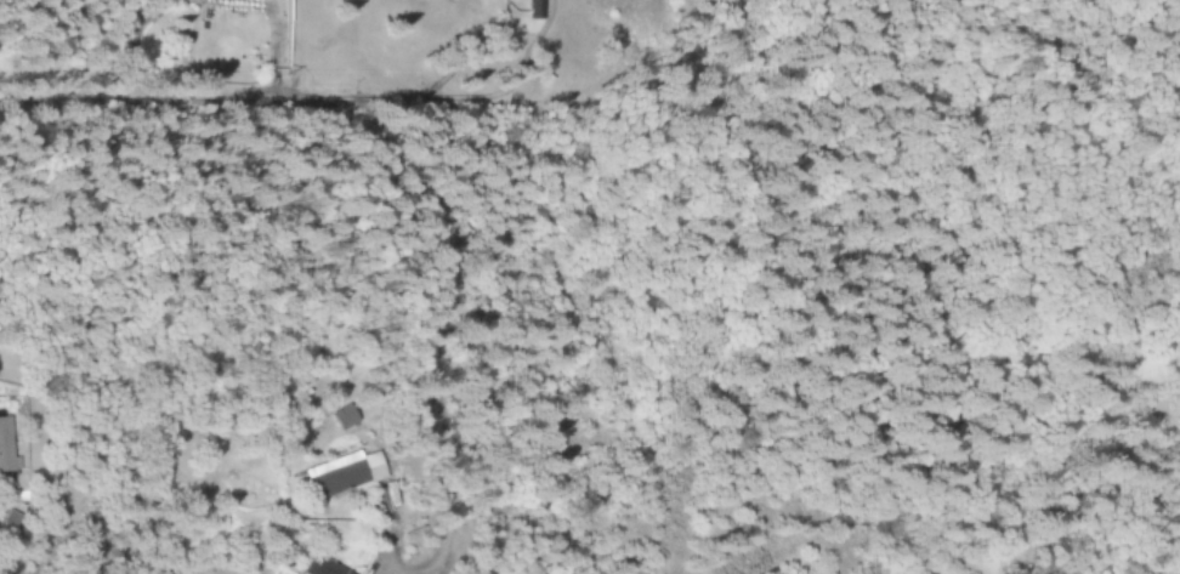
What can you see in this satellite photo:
building: (531, 10)
road: (270, 49)
road: (210, 97)
building: (336, 420)
building: (5, 448)
building: (334, 476)

